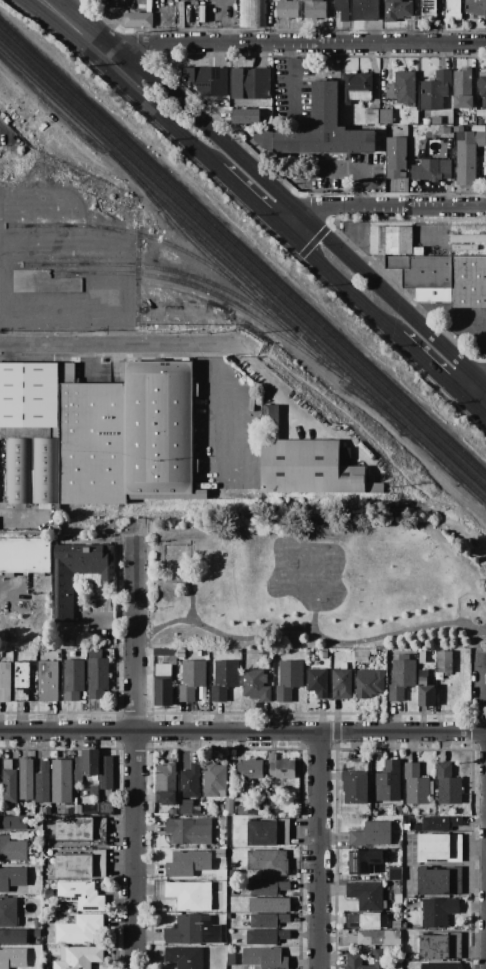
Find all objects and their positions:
building: (314, 8)
building: (428, 8)
building: (476, 8)
building: (287, 9)
building: (342, 9)
building: (365, 10)
building: (397, 10)
building: (452, 10)
building: (178, 13)
building: (251, 13)
building: (137, 19)
road: (72, 25)
road: (293, 44)
building: (207, 81)
building: (250, 83)
road: (289, 83)
building: (356, 87)
building: (401, 88)
building: (462, 89)
building: (435, 90)
building: (482, 90)
railway: (51, 99)
road: (158, 110)
building: (246, 116)
building: (378, 117)
building: (436, 121)
building: (481, 121)
building: (425, 122)
building: (319, 129)
building: (443, 132)
building: (467, 157)
building: (396, 158)
road: (351, 170)
building: (426, 170)
building: (395, 185)
road: (248, 199)
road: (379, 208)
road: (300, 210)
railway: (169, 215)
railway: (127, 233)
railway: (242, 252)
railway: (243, 263)
railway: (152, 268)
building: (432, 269)
building: (42, 282)
road: (338, 283)
railway: (254, 286)
railway: (194, 288)
railway: (276, 320)
road: (120, 345)
road: (435, 374)
road: (217, 375)
railway: (361, 391)
building: (29, 395)
road: (241, 404)
road: (480, 404)
road: (480, 415)
building: (160, 431)
building: (91, 441)
railway: (445, 462)
building: (306, 465)
building: (17, 471)
building: (46, 471)
building: (24, 513)
building: (25, 525)
building: (24, 555)
building: (62, 580)
park: (315, 587)
road: (310, 631)
building: (156, 653)
building: (363, 655)
building: (444, 662)
building: (97, 675)
building: (401, 677)
building: (192, 679)
building: (224, 679)
building: (288, 679)
building: (73, 680)
building: (21, 681)
building: (47, 681)
building: (5, 682)
building: (317, 683)
building: (369, 683)
building: (341, 685)
building: (163, 686)
building: (255, 686)
building: (425, 694)
road: (485, 699)
road: (243, 731)
road: (134, 756)
building: (87, 762)
building: (280, 767)
building: (249, 771)
building: (106, 772)
building: (76, 776)
building: (25, 780)
building: (214, 780)
building: (61, 781)
building: (9, 782)
building: (189, 782)
building: (355, 782)
building: (42, 783)
building: (388, 783)
building: (165, 784)
building: (447, 785)
building: (416, 786)
building: (228, 806)
building: (219, 807)
building: (188, 808)
building: (241, 808)
building: (105, 809)
building: (398, 810)
building: (45, 811)
building: (172, 811)
building: (14, 812)
building: (13, 823)
building: (440, 823)
building: (81, 830)
building: (189, 831)
building: (268, 833)
building: (371, 835)
building: (19, 836)
building: (438, 848)
building: (12, 850)
road: (318, 850)
building: (220, 854)
building: (363, 861)
building: (268, 863)
building: (188, 864)
building: (81, 865)
building: (233, 873)
building: (394, 874)
building: (381, 876)
building: (12, 878)
building: (439, 880)
building: (268, 888)
building: (238, 890)
building: (48, 895)
building: (80, 895)
building: (189, 896)
building: (365, 896)
building: (270, 905)
building: (437, 912)
building: (8, 913)
building: (268, 920)
building: (366, 922)
building: (37, 923)
building: (395, 924)
building: (80, 929)
building: (189, 930)
building: (37, 933)
building: (13, 937)
building: (266, 937)
building: (374, 938)
building: (221, 941)
building: (440, 947)
building: (78, 957)
building: (184, 957)
building: (12, 958)
building: (264, 958)
building: (230, 960)
building: (354, 962)
building: (441, 966)

